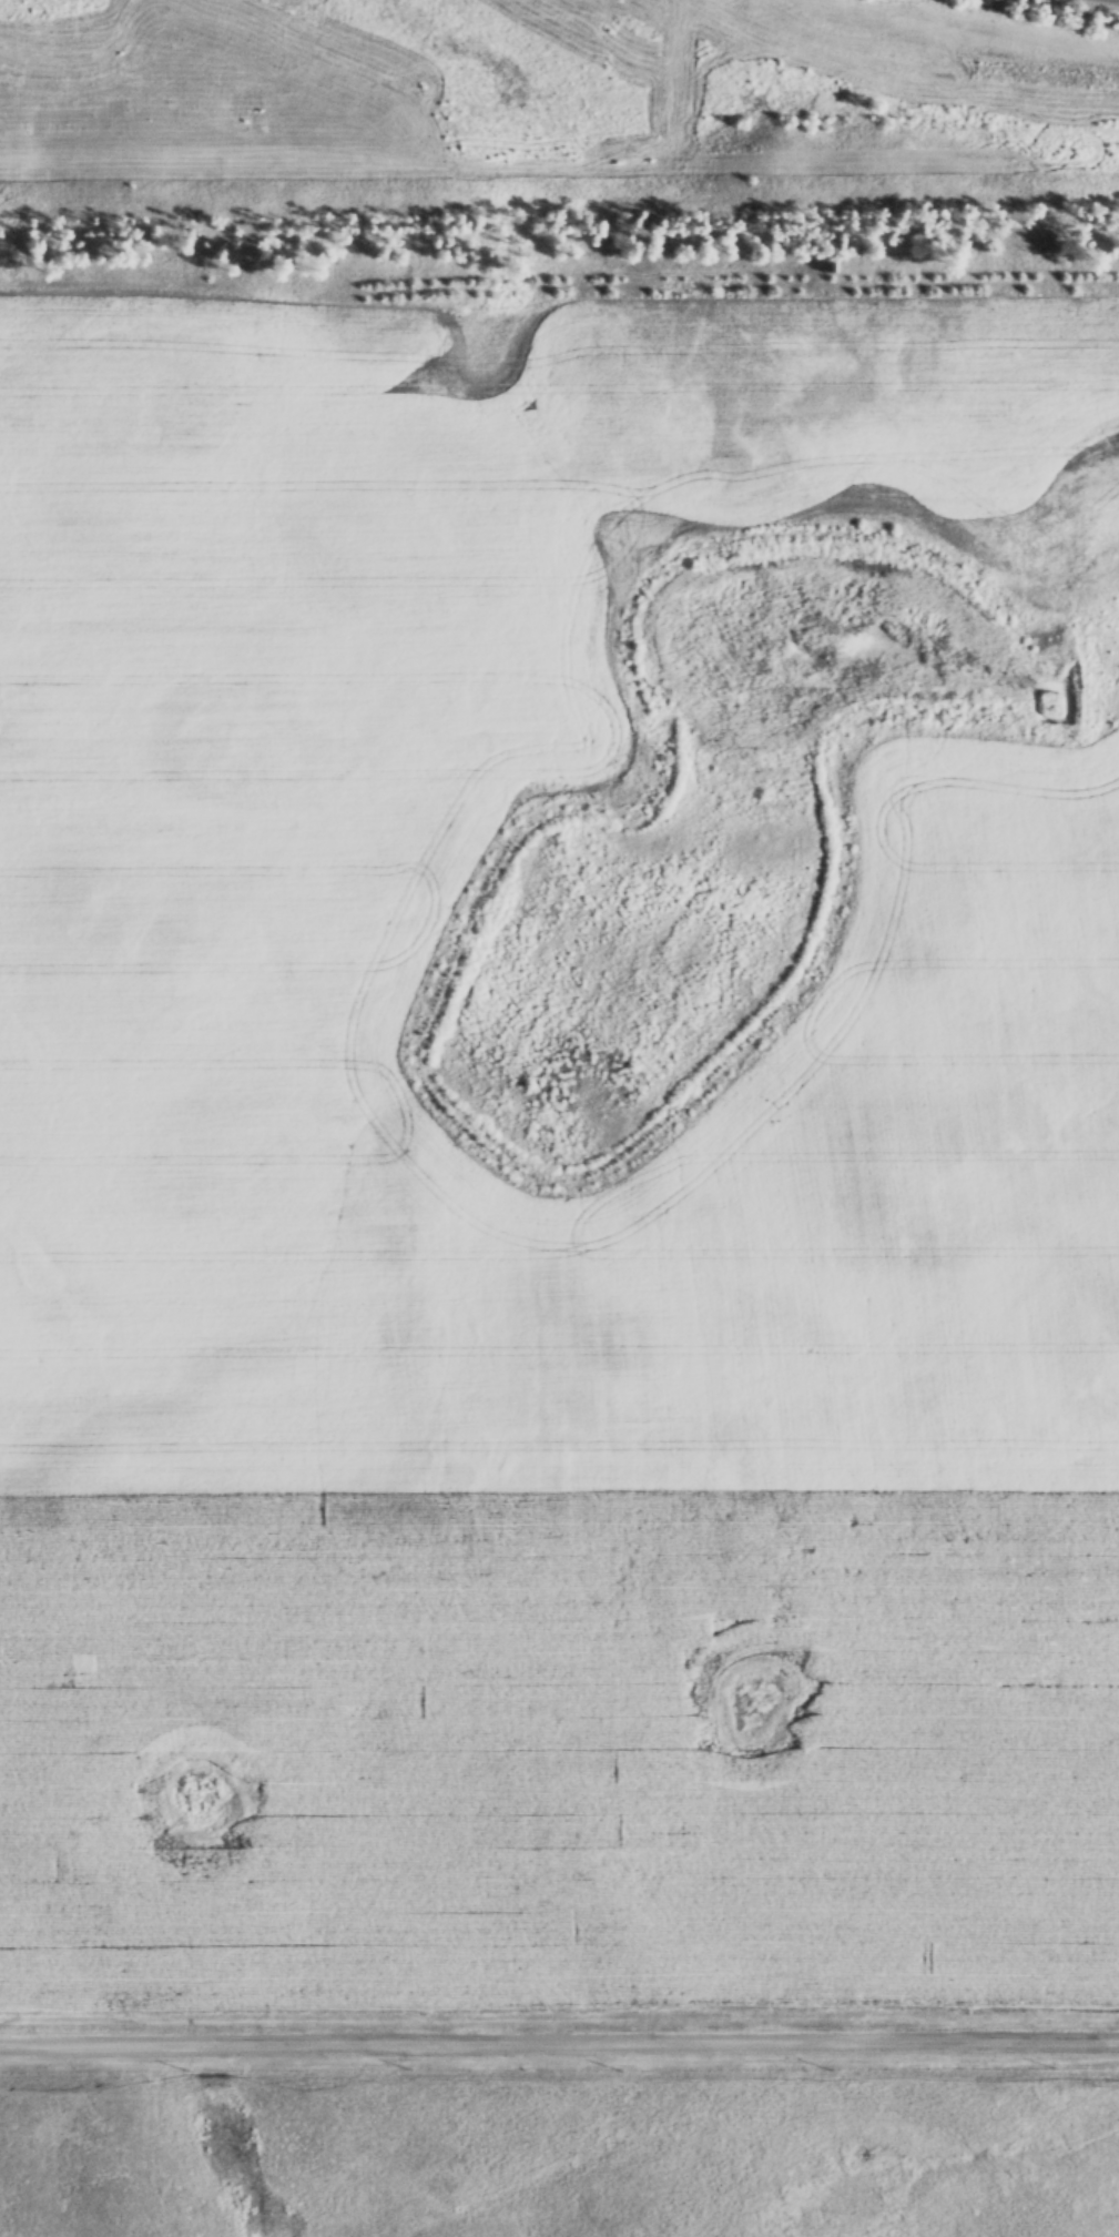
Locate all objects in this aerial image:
road: (559, 2038)

